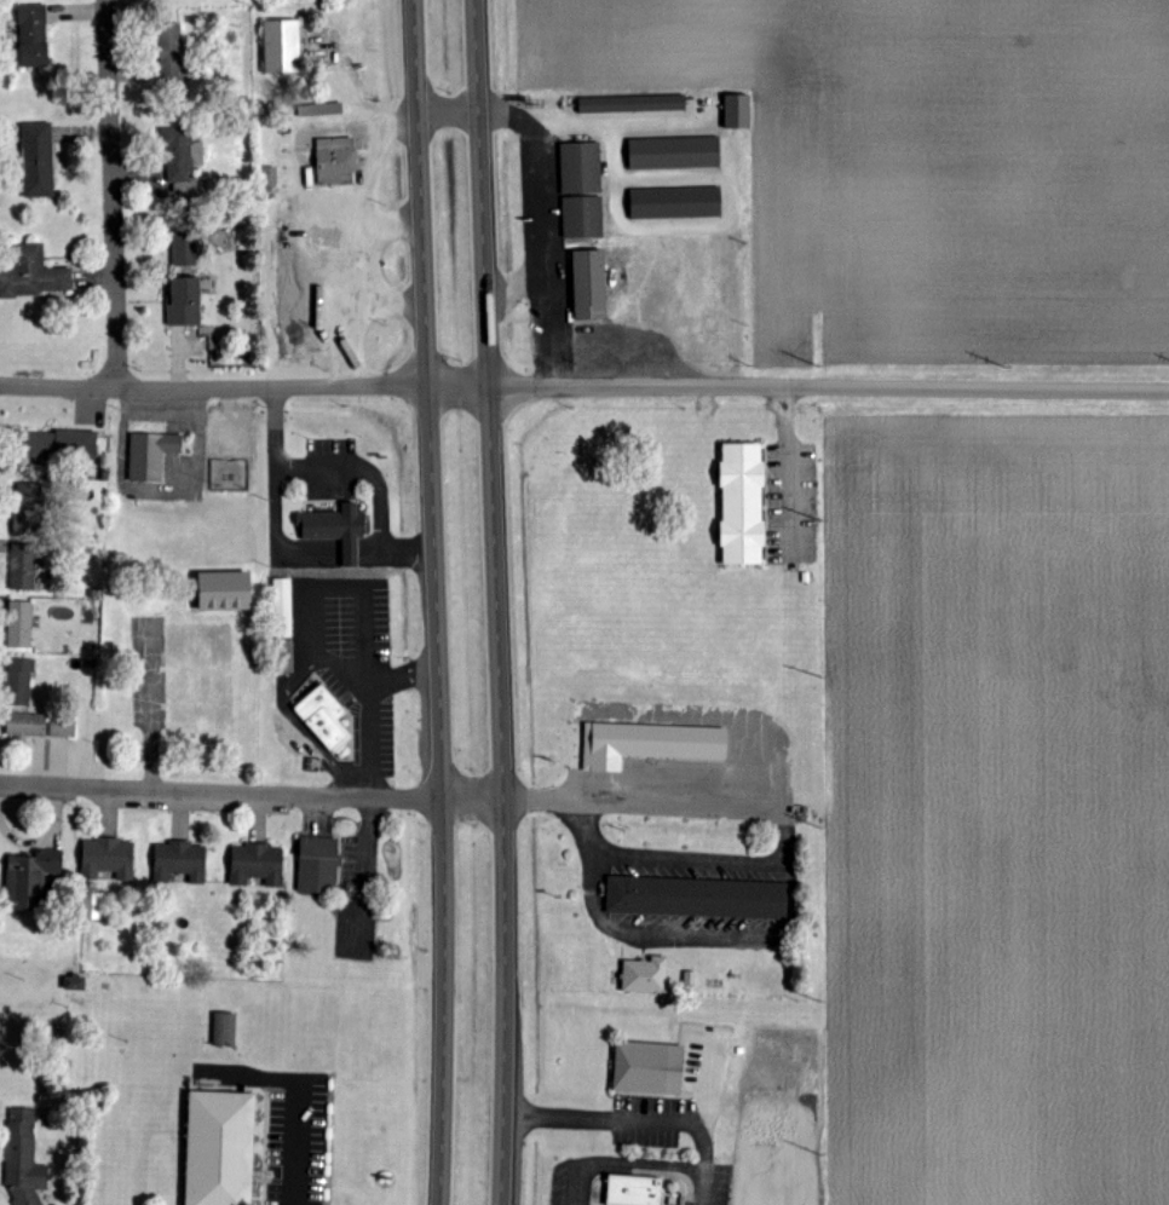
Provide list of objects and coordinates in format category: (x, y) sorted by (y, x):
building: (34, 35)
building: (282, 47)
road: (347, 65)
road: (361, 94)
building: (633, 104)
building: (317, 110)
building: (738, 111)
road: (661, 120)
road: (384, 125)
building: (674, 152)
building: (179, 154)
building: (38, 161)
building: (336, 161)
crop: (921, 165)
building: (581, 168)
building: (270, 177)
road: (370, 184)
road: (106, 194)
building: (676, 203)
building: (583, 217)
road: (639, 229)
building: (184, 250)
road: (545, 254)
building: (31, 273)
road: (349, 278)
building: (591, 284)
road: (516, 286)
road: (386, 299)
building: (185, 302)
road: (244, 386)
road: (829, 387)
building: (61, 445)
building: (151, 456)
road: (790, 466)
parking lot: (332, 468)
road: (347, 469)
building: (743, 503)
parking lot: (790, 505)
building: (25, 511)
building: (336, 530)
road: (293, 543)
road: (333, 555)
building: (23, 572)
building: (225, 592)
road: (321, 593)
road: (432, 601)
road: (497, 601)
building: (283, 609)
building: (21, 625)
parking lot: (349, 657)
building: (19, 682)
road: (374, 708)
building: (324, 714)
road: (300, 723)
building: (27, 726)
building: (63, 730)
building: (647, 744)
road: (252, 789)
road: (539, 790)
road: (787, 809)
crop: (997, 809)
building: (109, 859)
building: (180, 861)
building: (257, 865)
building: (319, 865)
building: (31, 878)
building: (697, 898)
parking lot: (595, 900)
building: (646, 976)
building: (690, 978)
building: (75, 984)
building: (225, 1030)
building: (649, 1067)
road: (635, 1122)
parking lot: (650, 1122)
building: (220, 1147)
building: (23, 1159)
road: (628, 1164)
parking lot: (638, 1183)
building: (639, 1190)

